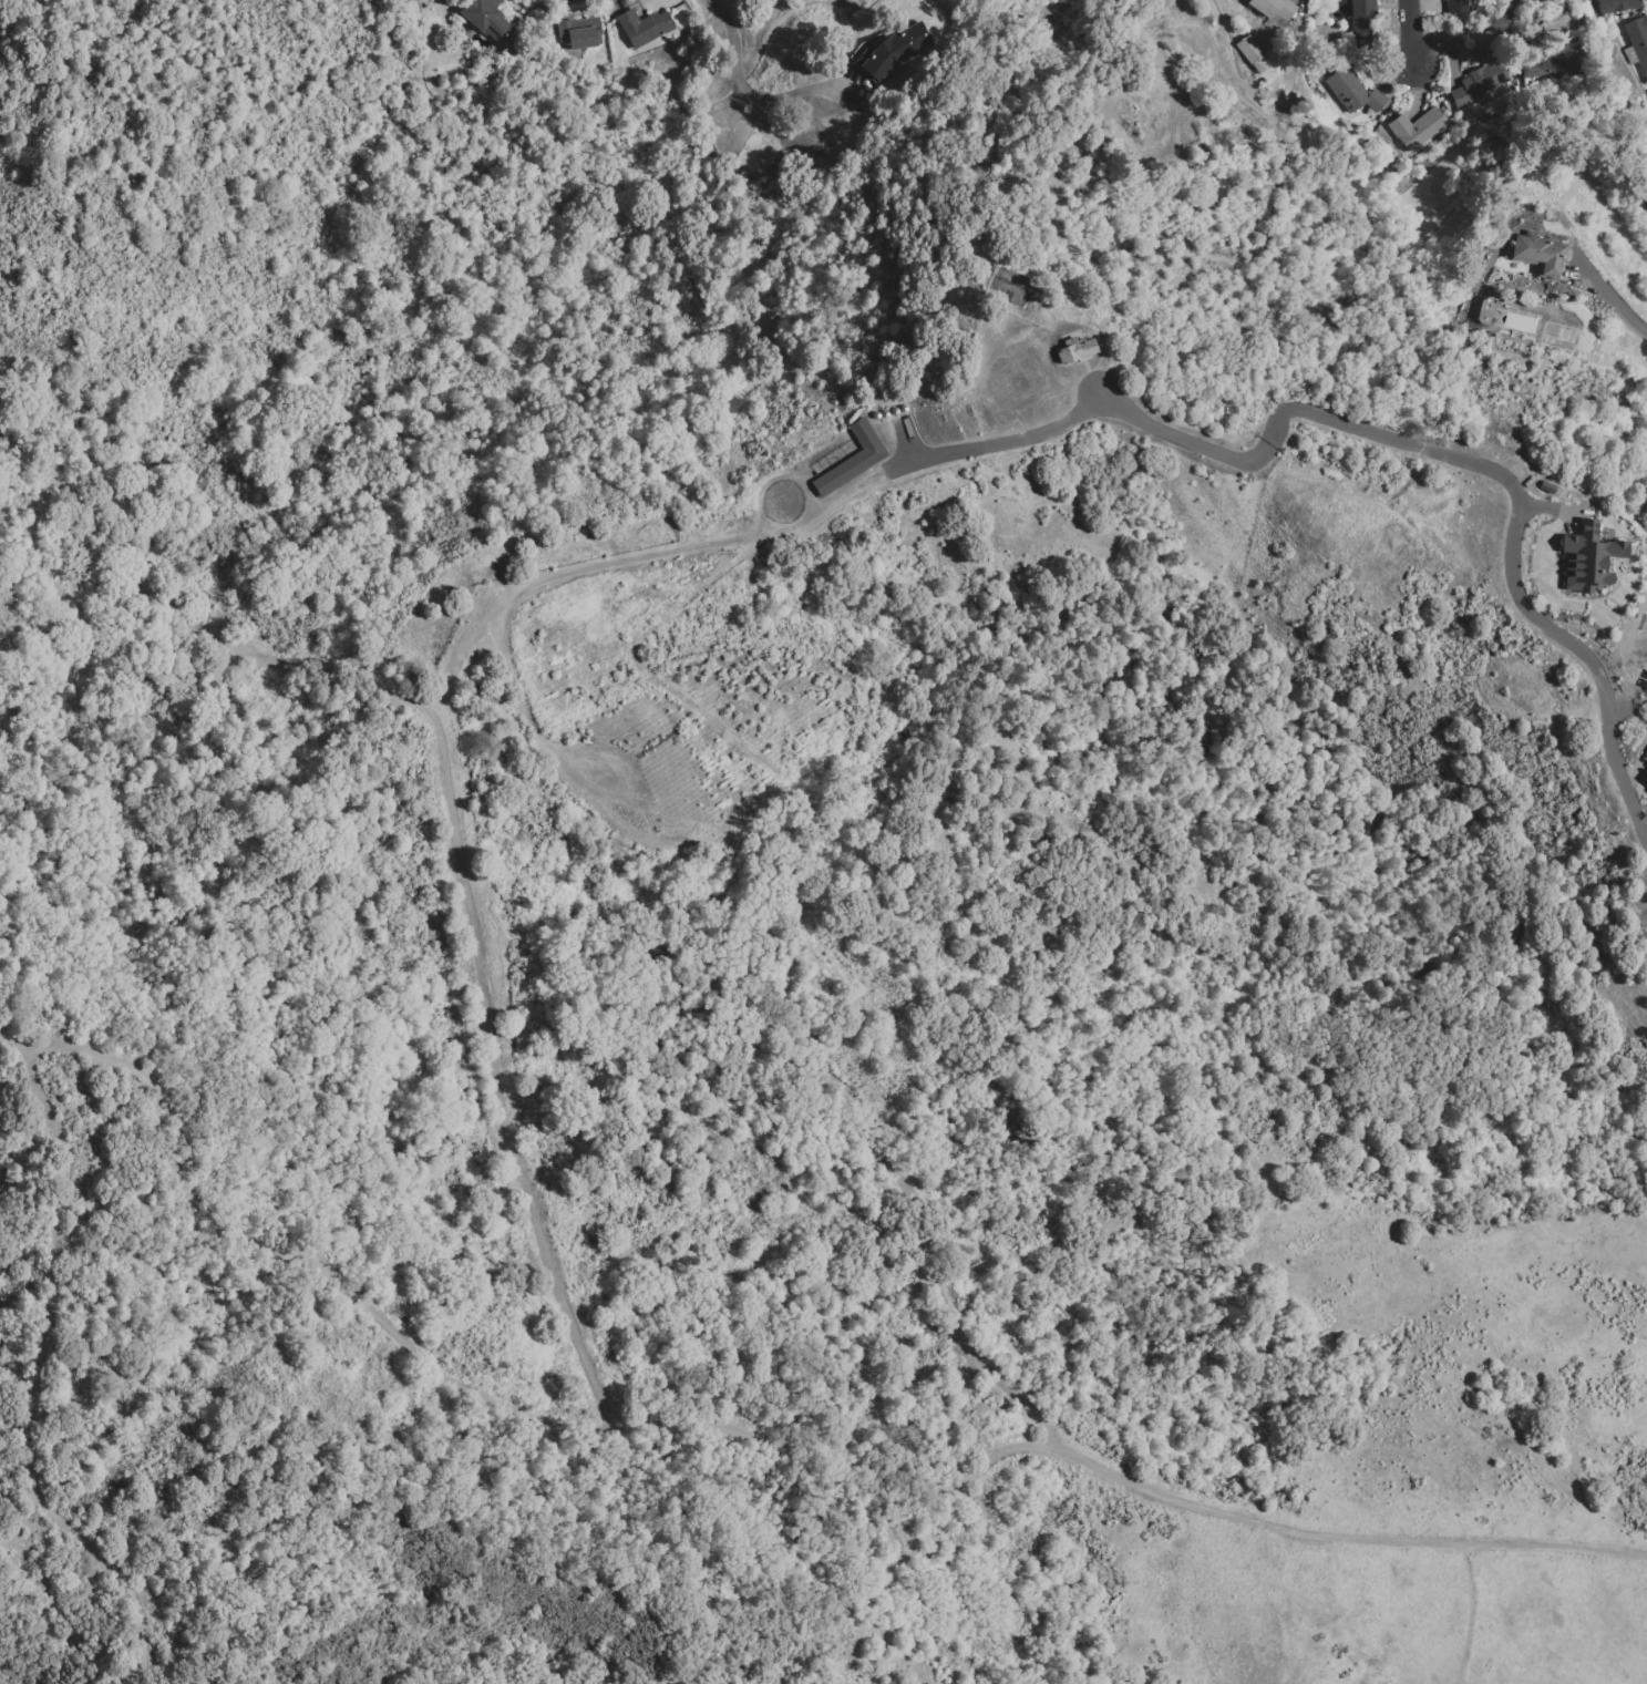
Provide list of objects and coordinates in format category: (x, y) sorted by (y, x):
building: (1455, 6)
building: (1616, 6)
building: (1273, 8)
building: (486, 19)
building: (1359, 22)
building: (642, 25)
road: (1470, 30)
building: (578, 33)
road: (1411, 35)
building: (1638, 41)
building: (1250, 48)
building: (894, 51)
building: (1250, 62)
building: (1550, 62)
building: (1476, 83)
road: (749, 90)
building: (1351, 91)
building: (1417, 127)
building: (1535, 253)
road: (1615, 300)
building: (1074, 350)
road: (1135, 415)
building: (852, 458)
building: (1587, 557)
building: (1646, 773)
road: (538, 1232)
road: (276, 1263)
road: (37, 1383)
road: (1554, 1550)
road: (1475, 1614)

